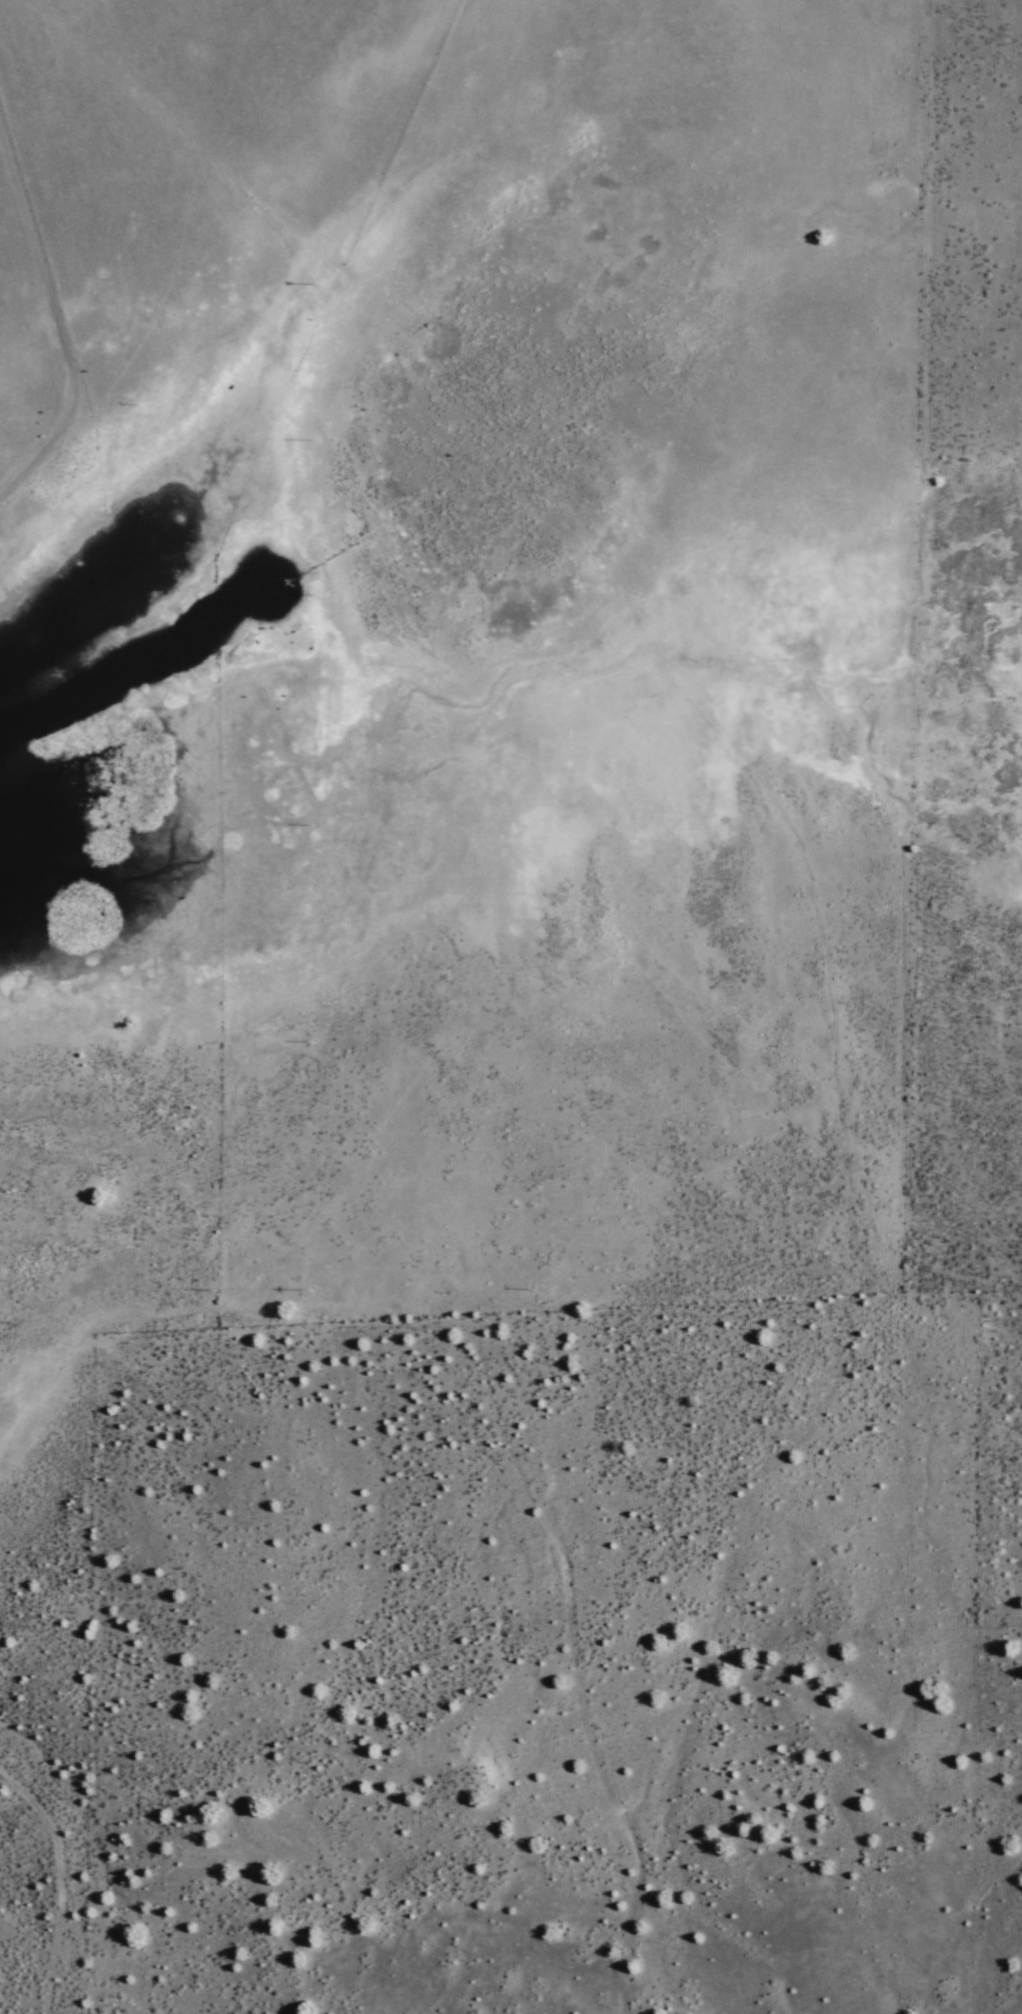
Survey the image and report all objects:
road: (59, 293)

